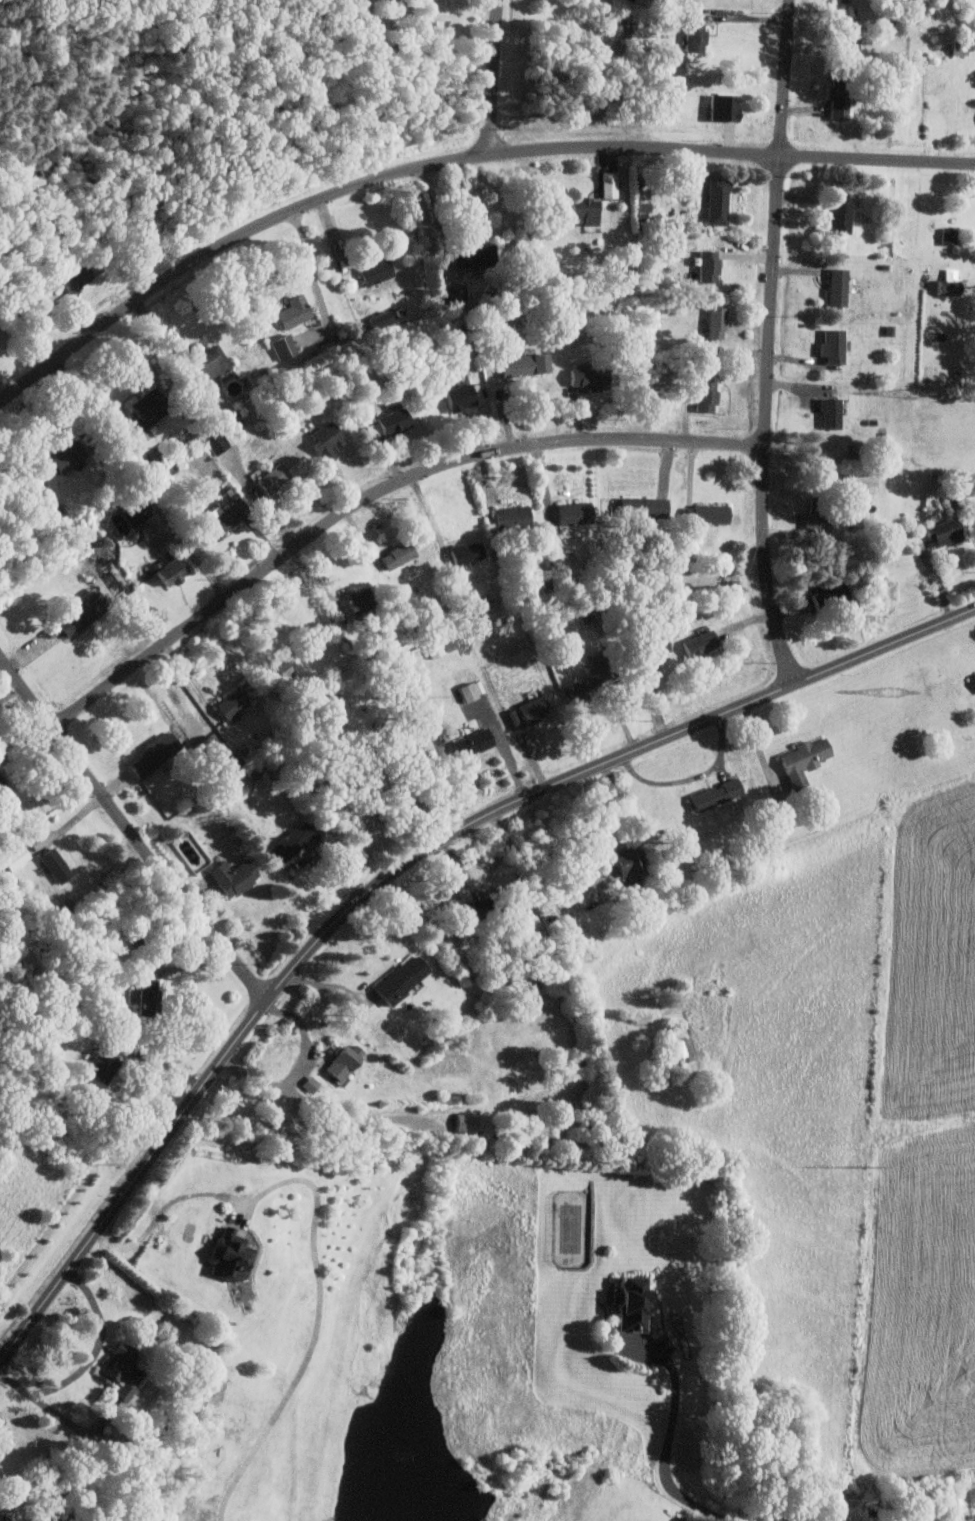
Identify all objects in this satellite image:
power tower: (935, 11)
road: (740, 17)
building: (843, 26)
building: (691, 36)
building: (956, 49)
road: (492, 78)
building: (834, 104)
building: (720, 107)
road: (453, 156)
building: (605, 184)
building: (714, 202)
building: (640, 206)
building: (580, 210)
road: (431, 211)
building: (836, 215)
building: (946, 236)
building: (467, 255)
building: (705, 266)
building: (371, 271)
road: (312, 272)
building: (73, 277)
building: (946, 283)
building: (833, 286)
building: (289, 312)
building: (713, 322)
road: (768, 342)
building: (279, 346)
building: (829, 346)
building: (206, 363)
building: (520, 364)
building: (583, 378)
road: (81, 394)
power tower: (913, 394)
building: (702, 396)
building: (456, 397)
building: (827, 413)
building: (139, 421)
building: (384, 424)
building: (322, 442)
building: (61, 459)
building: (267, 477)
building: (32, 489)
road: (374, 494)
building: (638, 507)
building: (135, 510)
building: (569, 513)
building: (703, 514)
building: (508, 517)
building: (219, 518)
building: (810, 521)
building: (940, 532)
building: (462, 552)
building: (393, 555)
building: (165, 572)
building: (354, 603)
building: (76, 612)
building: (696, 644)
building: (648, 652)
building: (972, 680)
building: (464, 692)
power tower: (893, 695)
building: (227, 704)
building: (525, 712)
building: (193, 728)
building: (395, 736)
building: (468, 743)
building: (151, 753)
building: (799, 762)
road: (420, 791)
building: (714, 794)
road: (129, 832)
building: (286, 843)
building: (31, 844)
road: (574, 850)
building: (12, 858)
building: (51, 865)
road: (399, 869)
building: (623, 869)
building: (229, 877)
road: (442, 895)
building: (396, 980)
building: (143, 991)
building: (674, 1049)
building: (336, 1063)
road: (297, 1070)
road: (356, 1118)
building: (466, 1123)
power tower: (868, 1167)
road: (162, 1216)
building: (224, 1254)
building: (626, 1303)
road: (317, 1325)
road: (88, 1359)
building: (112, 1361)
building: (119, 1391)
road: (666, 1447)
building: (2, 1518)

